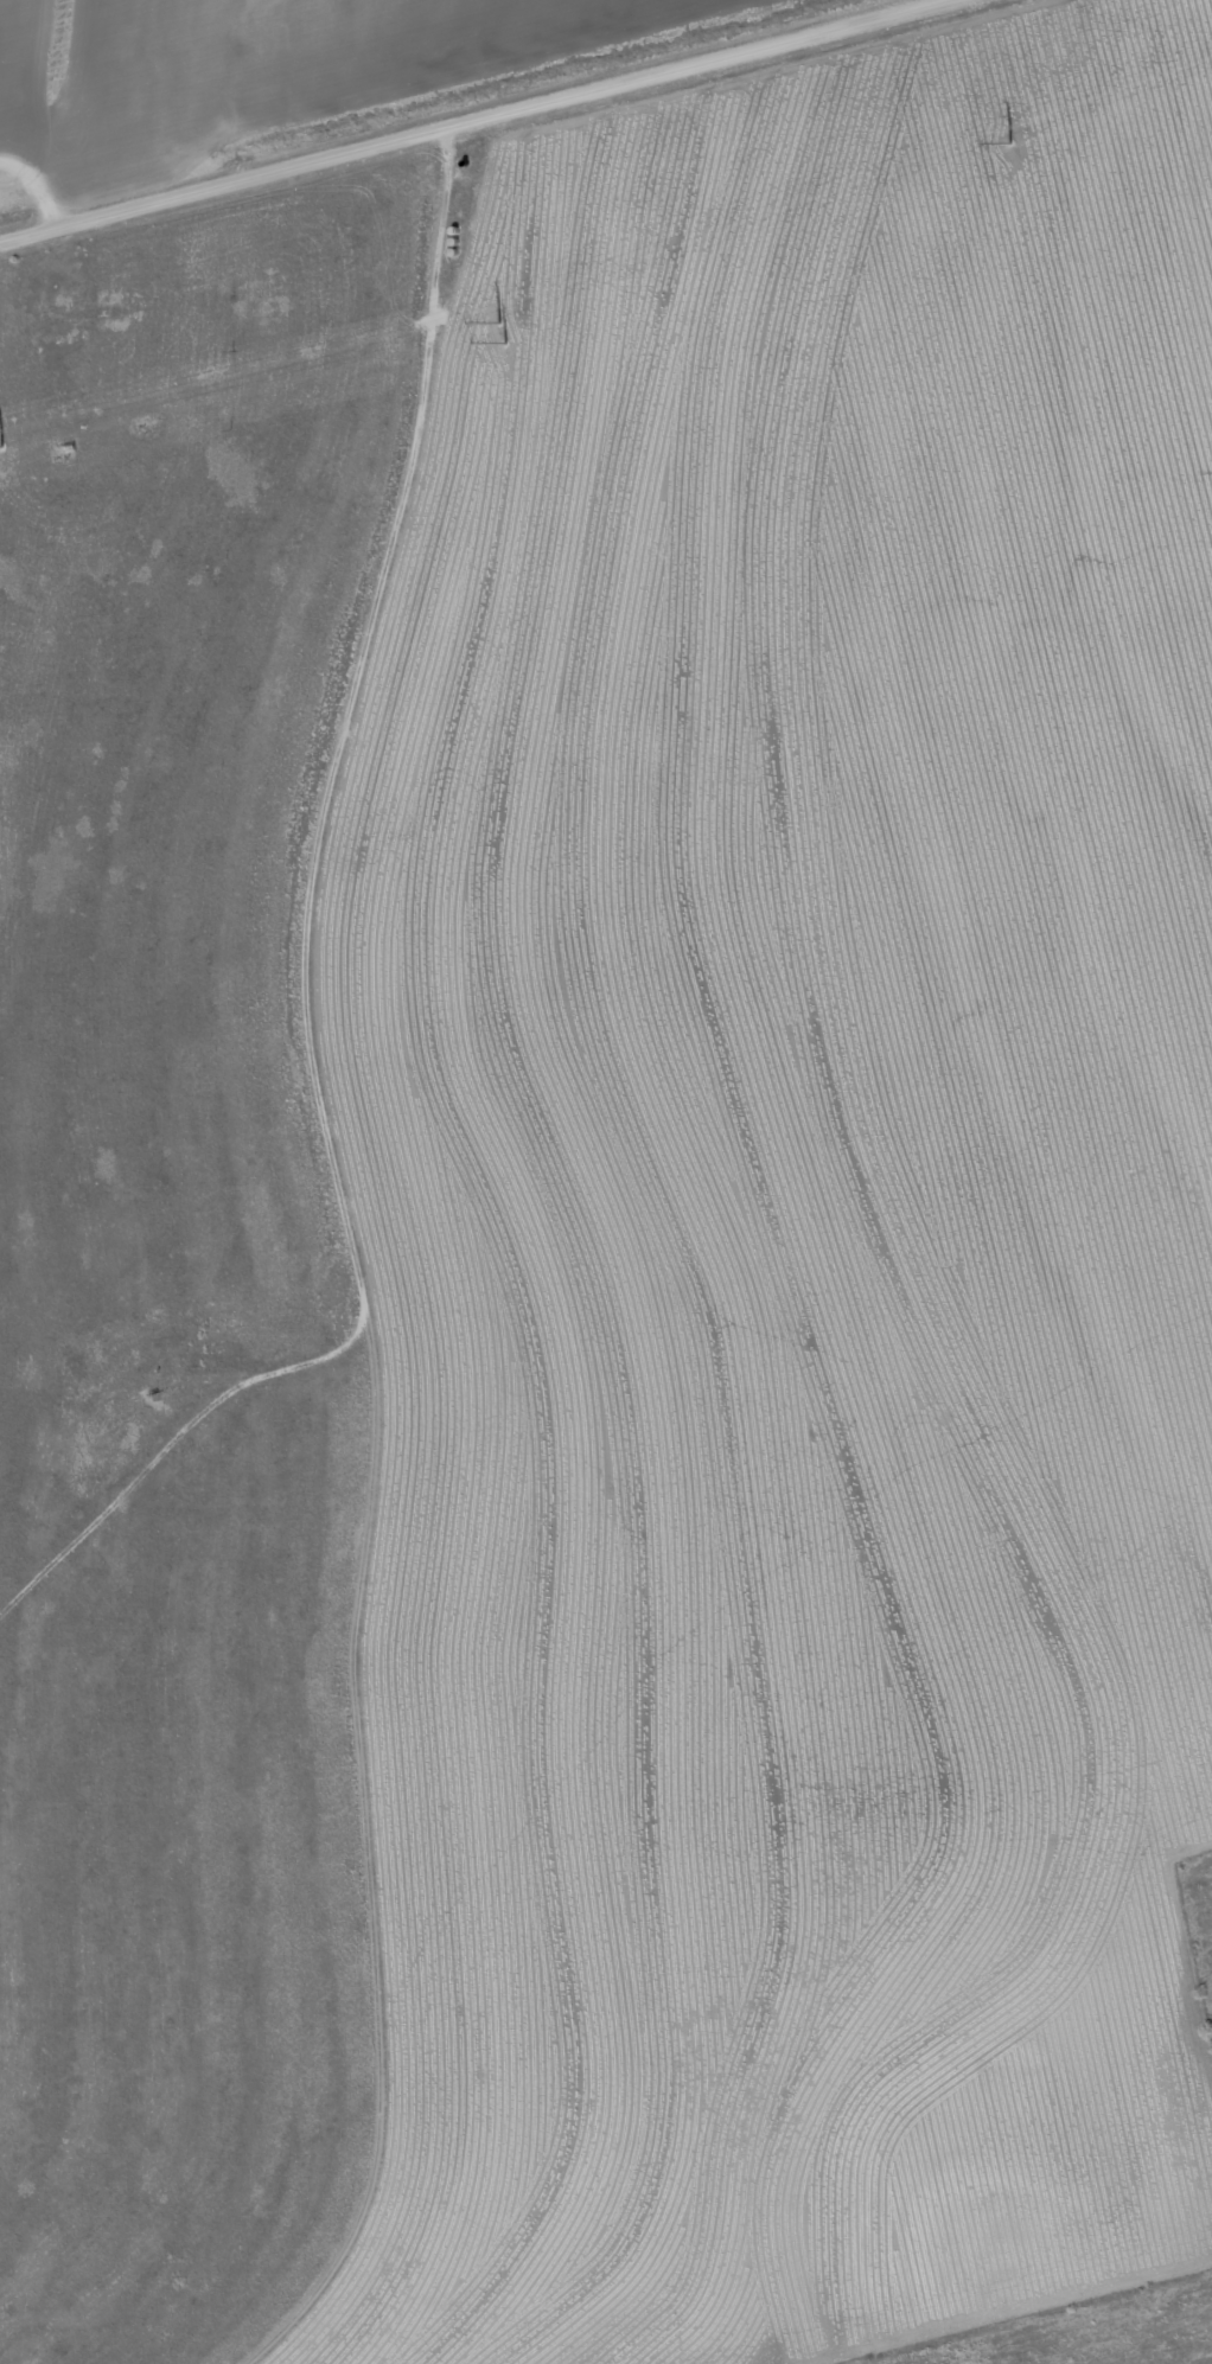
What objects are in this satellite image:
road: (452, 123)
power tower: (1010, 143)
power tower: (503, 334)
power tower: (4, 446)
road: (362, 1254)

